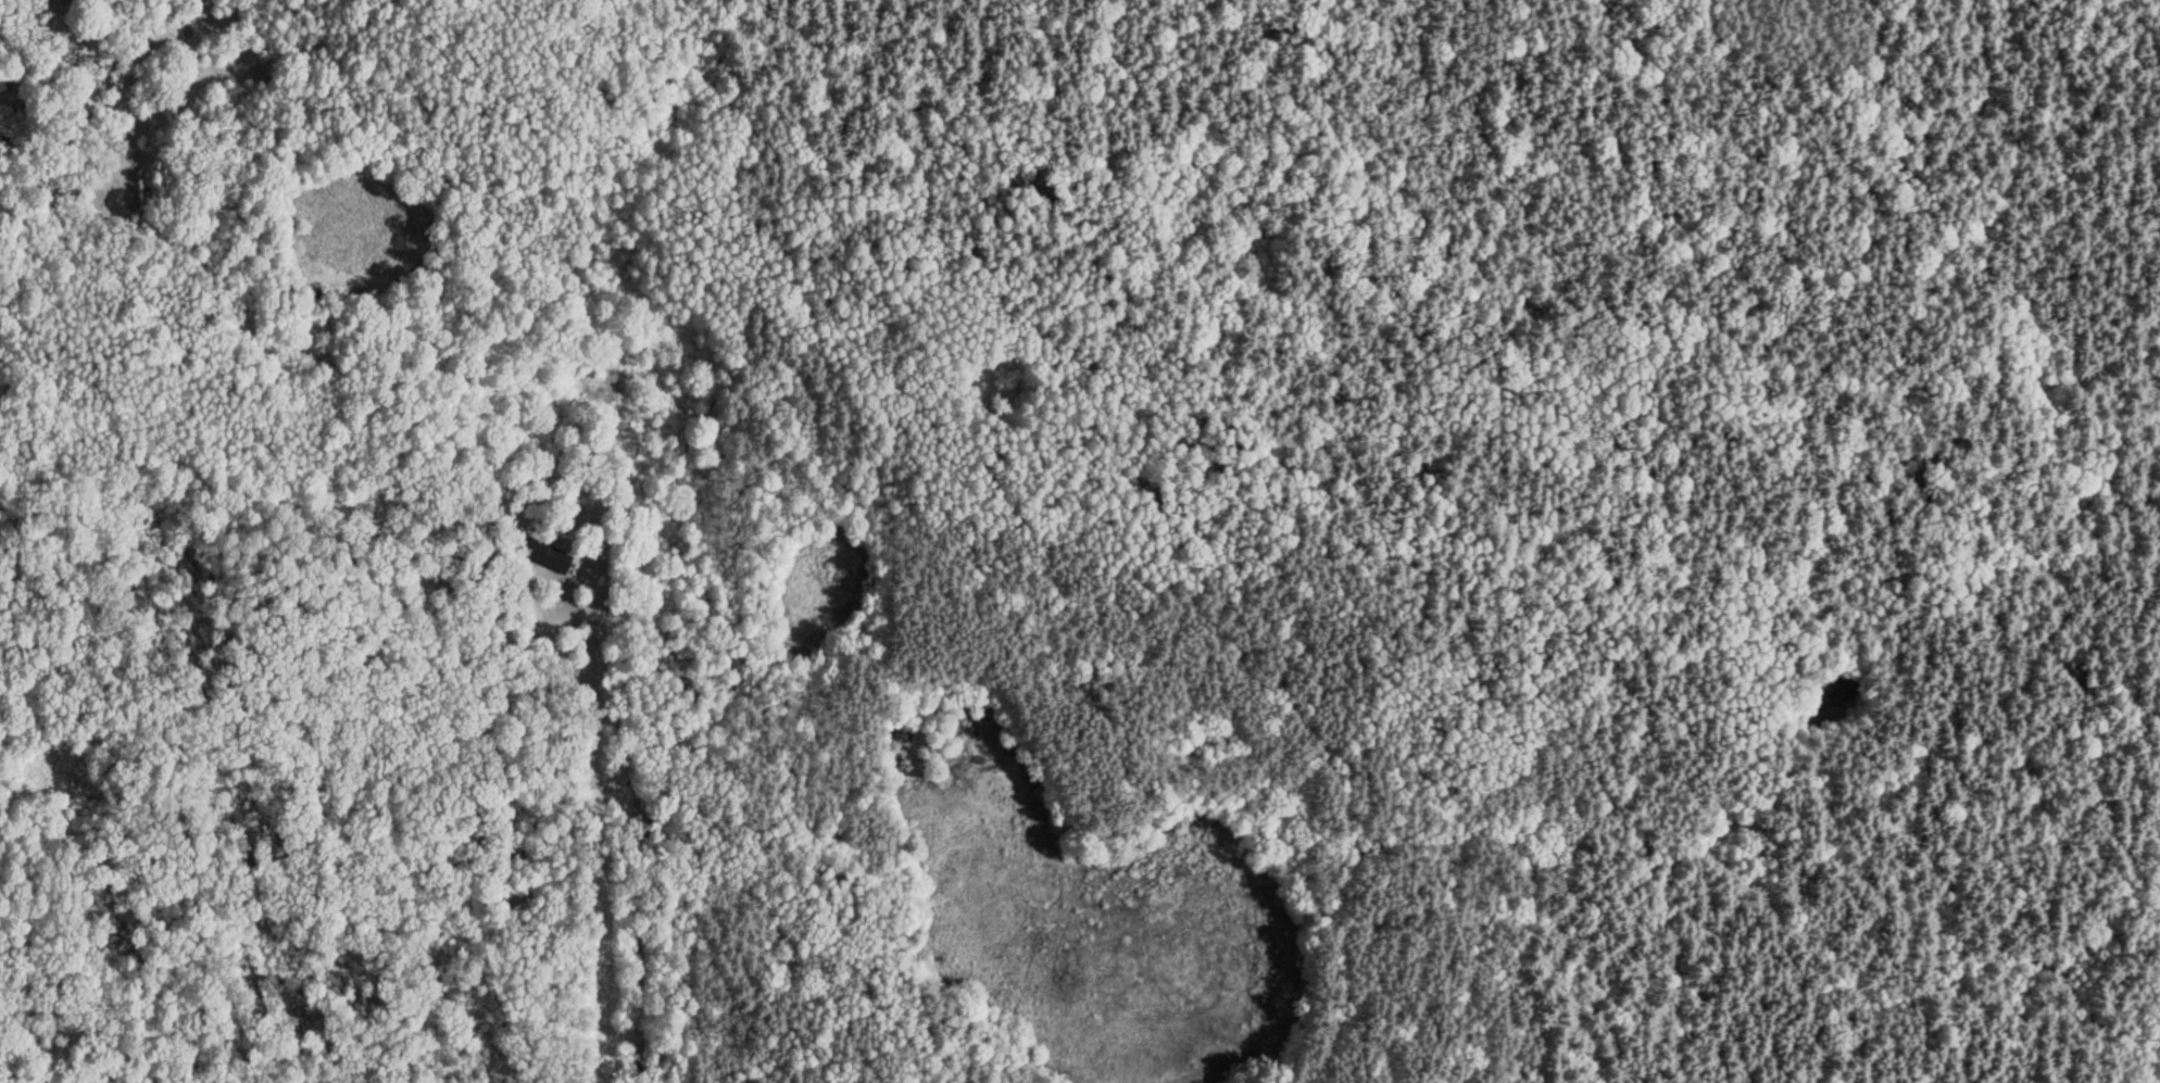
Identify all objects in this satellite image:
building: (544, 555)
road: (624, 807)

